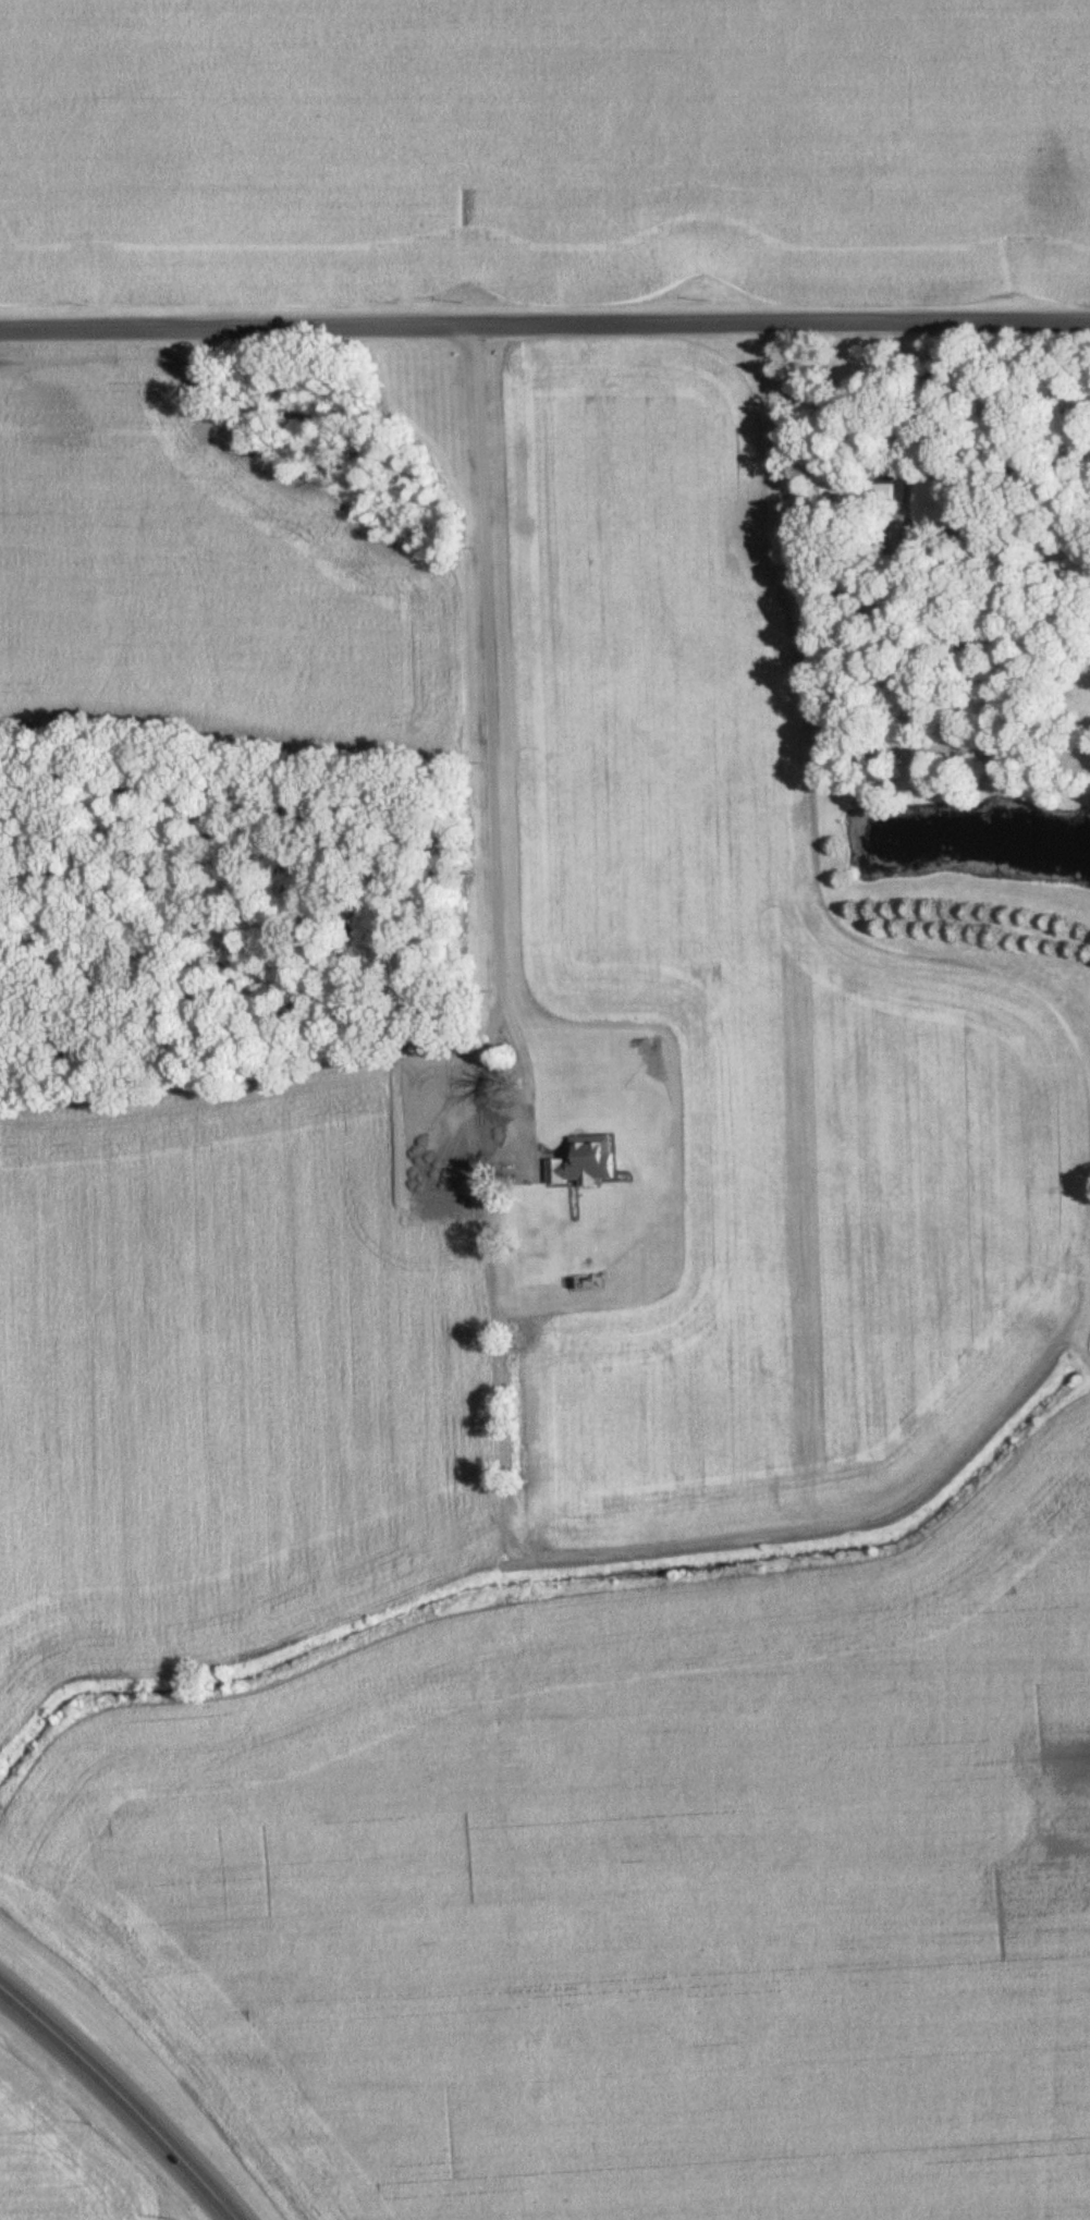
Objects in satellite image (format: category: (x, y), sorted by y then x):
road: (544, 341)
building: (831, 487)
building: (930, 504)
road: (492, 831)
road: (122, 2095)

